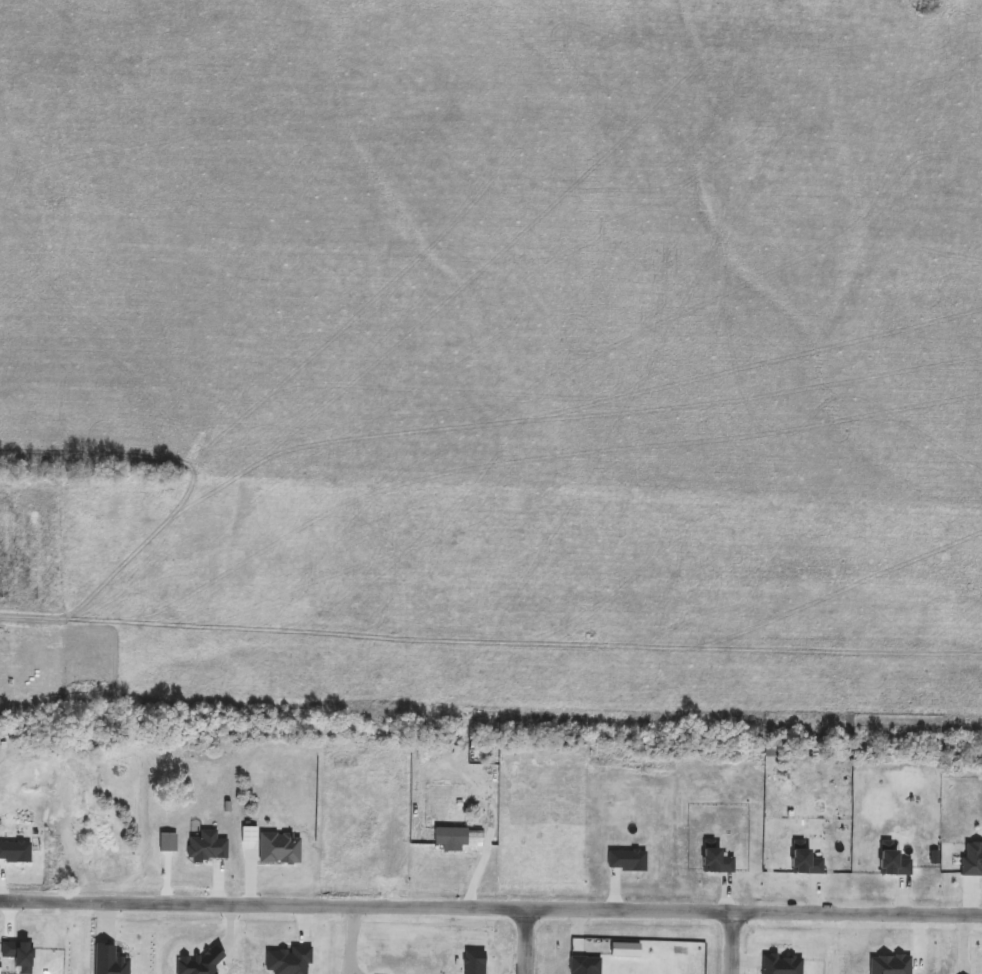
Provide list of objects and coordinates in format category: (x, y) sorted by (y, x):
building: (205, 850)
building: (13, 852)
building: (892, 861)
building: (626, 862)
building: (806, 863)
building: (717, 864)
road: (490, 906)
road: (523, 940)
road: (730, 942)
building: (473, 963)
building: (779, 963)
building: (582, 964)

